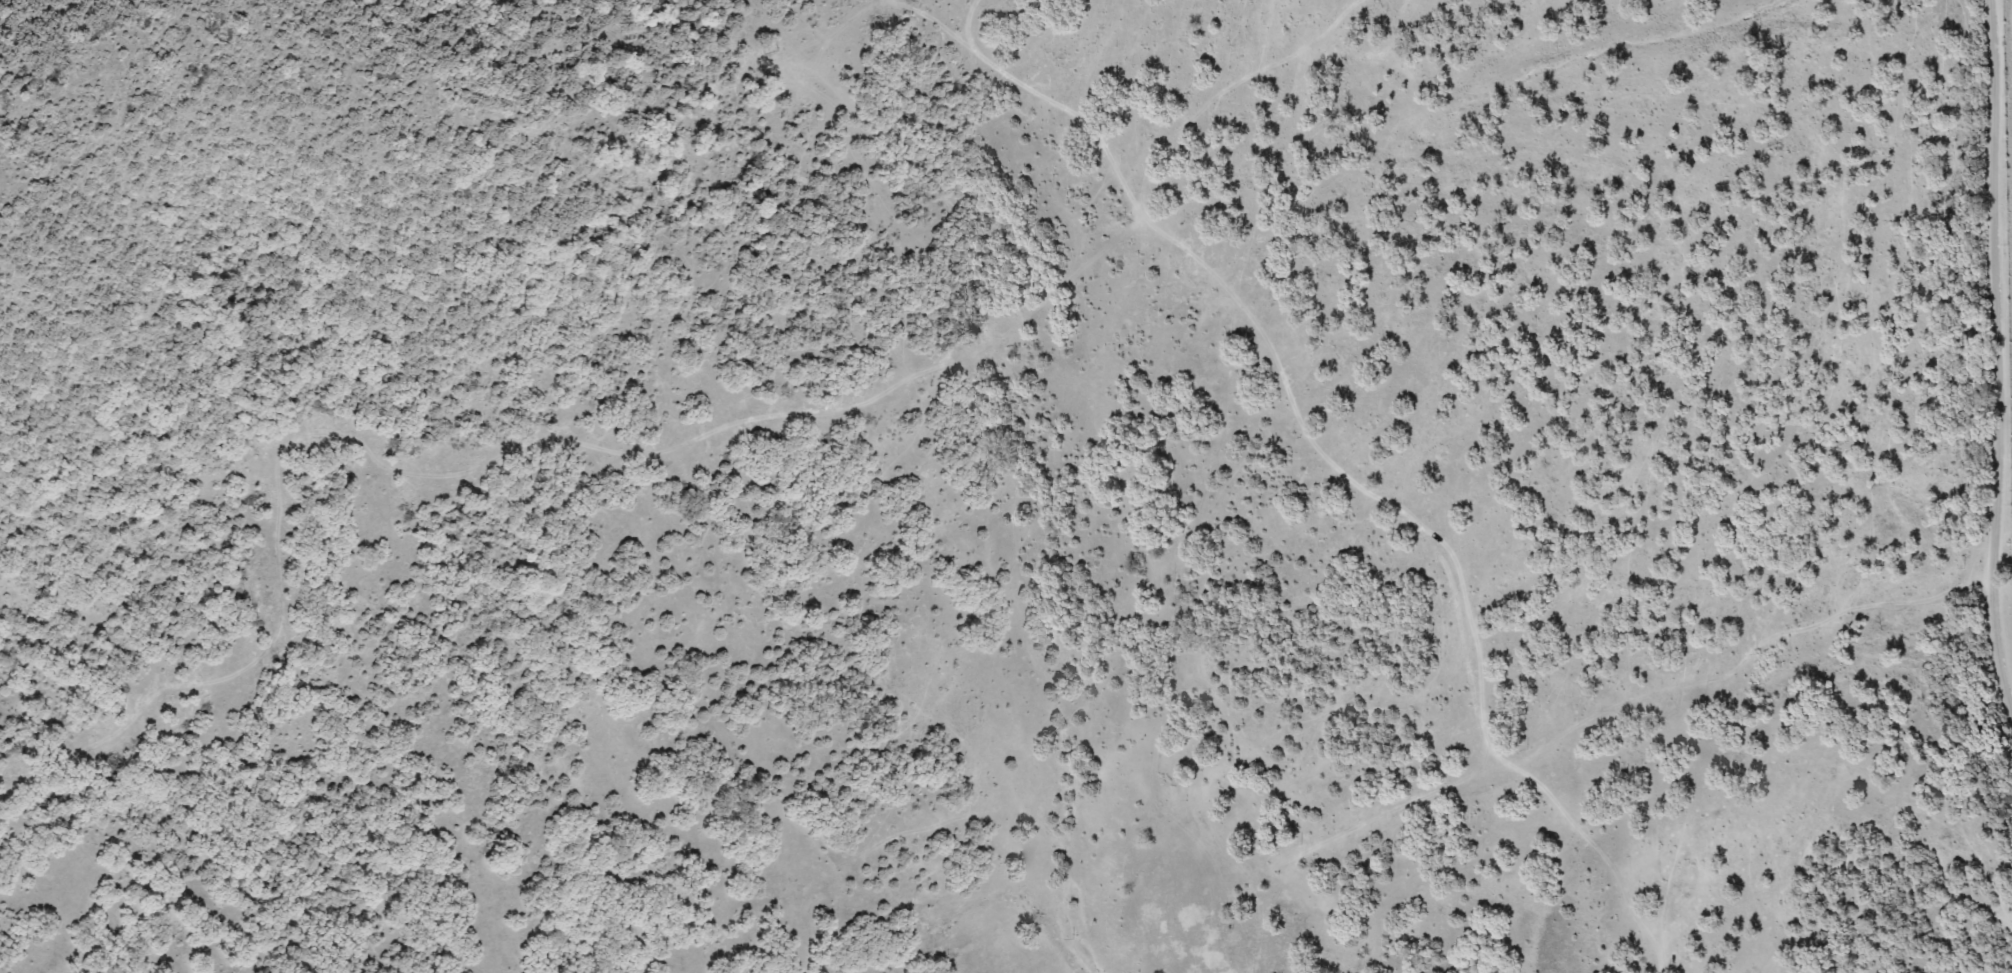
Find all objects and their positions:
road: (1999, 351)

